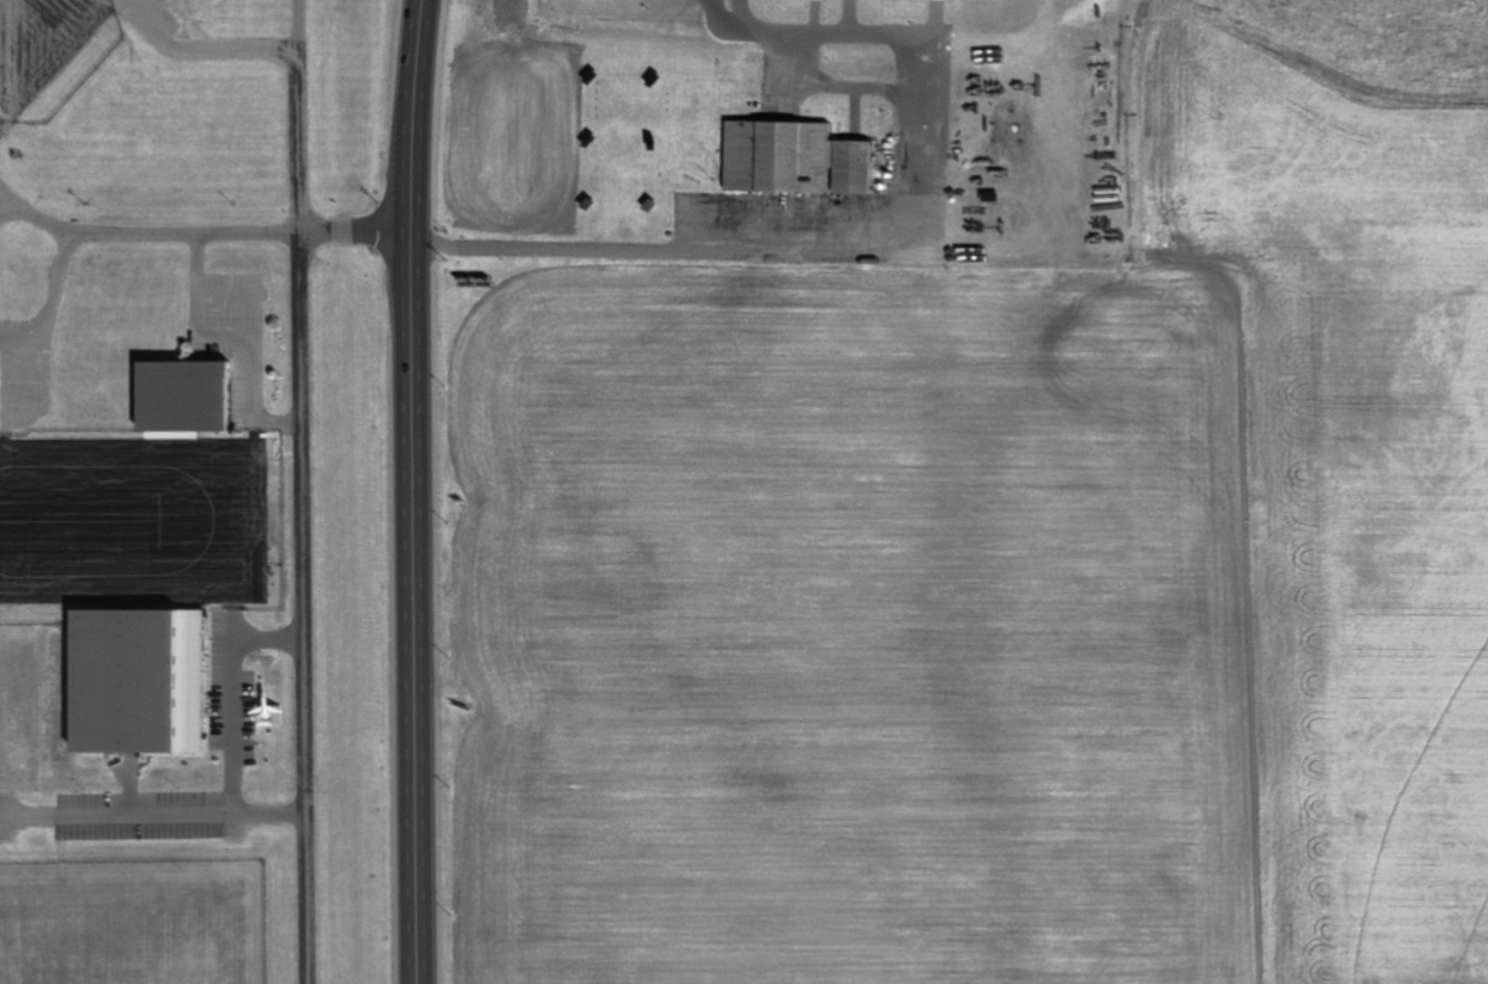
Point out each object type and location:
airport apron: (40, 43)
crop: (498, 126)
building: (790, 157)
road: (216, 232)
road: (879, 239)
airport hangar: (185, 396)
building: (185, 396)
road: (300, 459)
road: (419, 491)
airport: (196, 493)
airport apron: (133, 517)
crop: (996, 567)
road: (157, 815)

